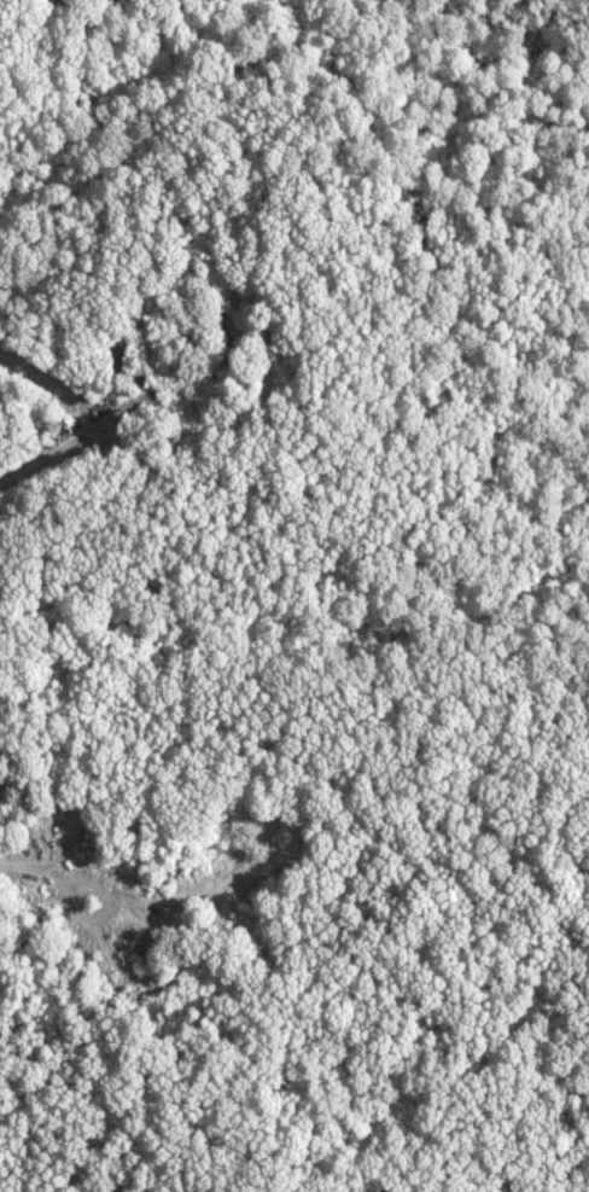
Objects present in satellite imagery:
road: (25, 876)
road: (104, 920)

